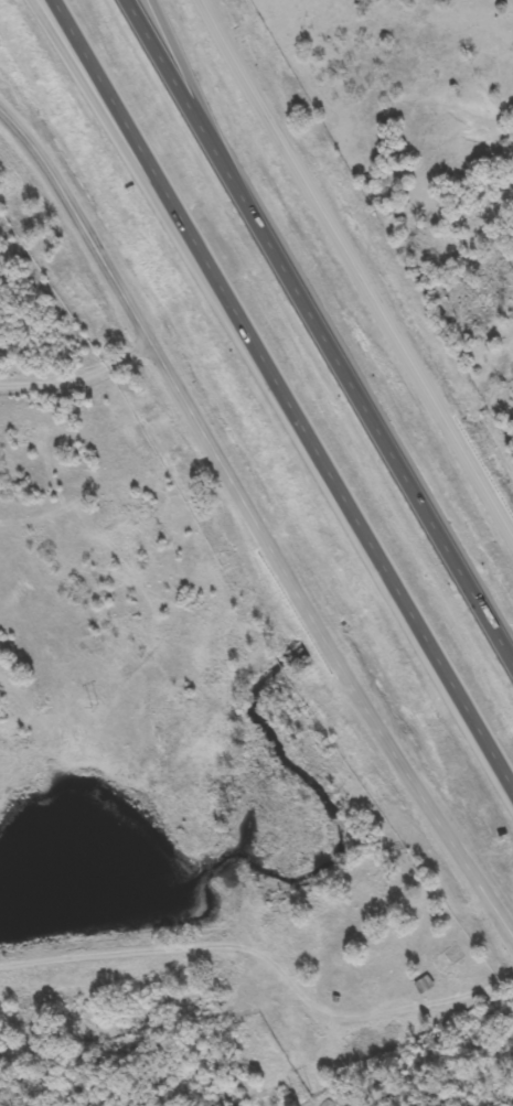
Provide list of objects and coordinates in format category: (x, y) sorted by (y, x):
road: (125, 142)
road: (229, 154)
road: (354, 269)
road: (319, 326)
road: (281, 396)
road: (255, 524)
building: (424, 985)

